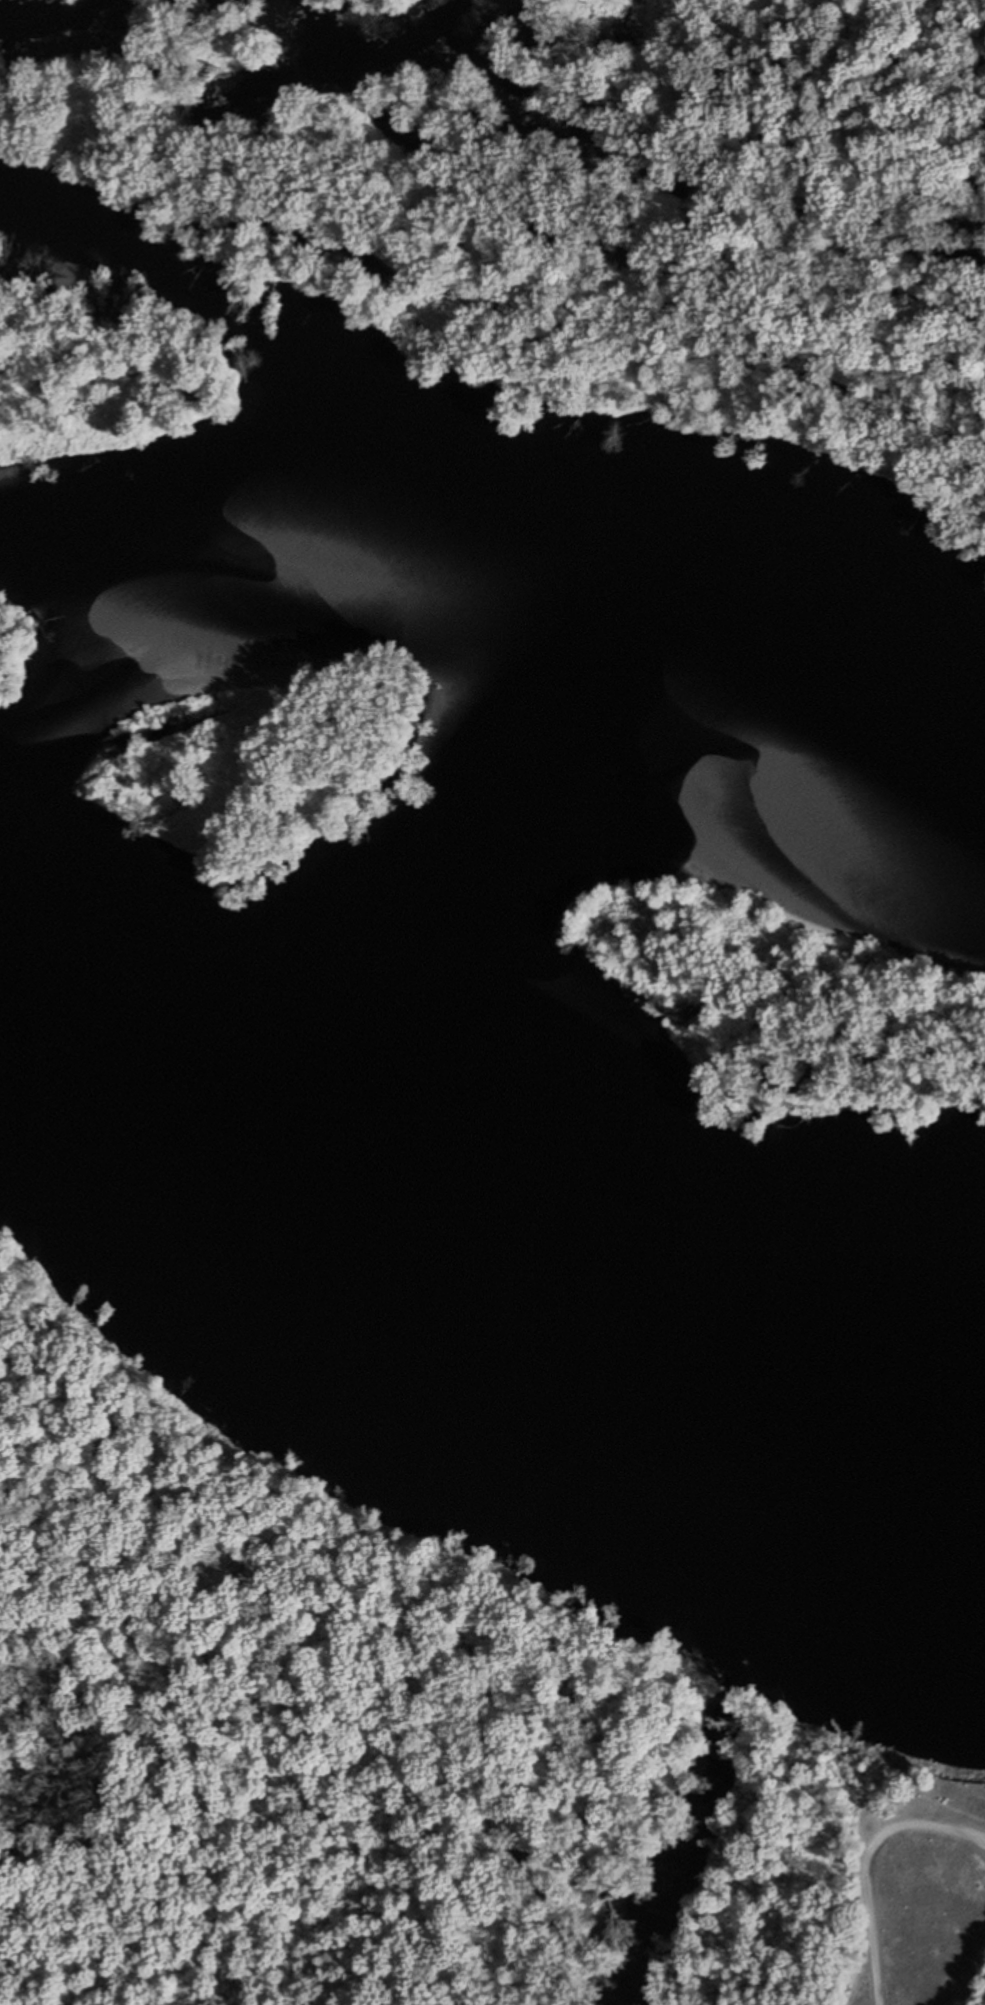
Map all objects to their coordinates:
river: (486, 1172)
road: (868, 1862)
road: (828, 1967)
road: (971, 1975)

